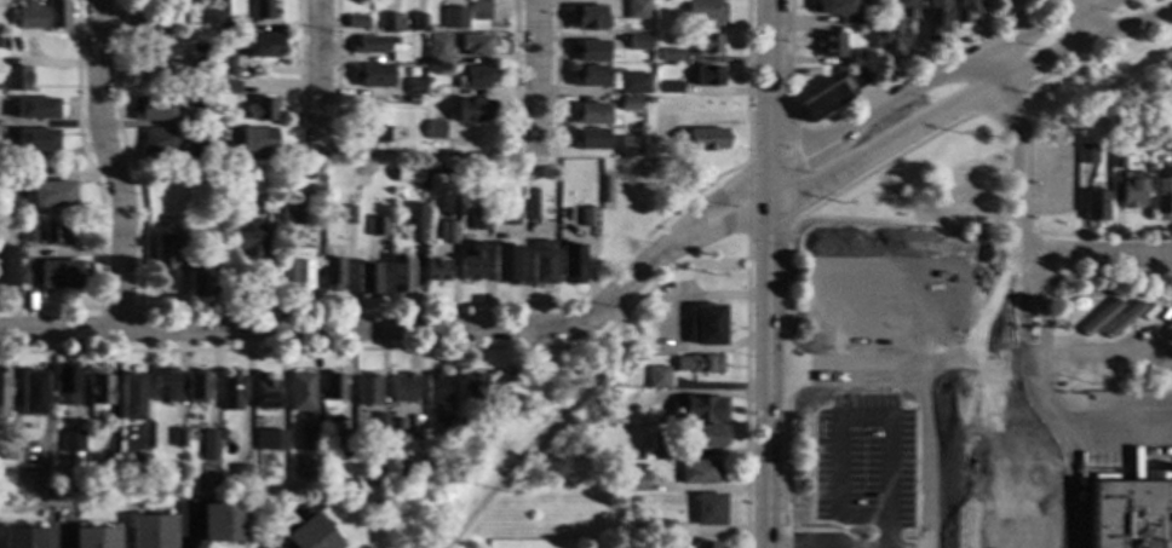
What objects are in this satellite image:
building: (142, 0)
building: (167, 0)
building: (202, 0)
building: (908, 4)
building: (259, 10)
building: (478, 10)
building: (636, 10)
building: (965, 10)
building: (705, 11)
building: (838, 11)
building: (56, 15)
building: (27, 16)
building: (676, 17)
building: (453, 18)
building: (587, 18)
building: (864, 18)
building: (933, 18)
road: (1080, 19)
building: (212, 21)
building: (355, 22)
building: (386, 22)
building: (182, 23)
building: (416, 23)
building: (138, 27)
building: (157, 29)
building: (229, 30)
building: (891, 35)
building: (217, 38)
building: (636, 42)
building: (364, 45)
building: (473, 45)
building: (707, 45)
building: (257, 46)
building: (831, 46)
building: (156, 47)
building: (436, 48)
building: (588, 51)
building: (195, 54)
building: (668, 54)
road: (1097, 54)
building: (862, 56)
building: (414, 57)
road: (970, 57)
building: (222, 64)
road: (512, 68)
building: (370, 76)
building: (588, 76)
building: (707, 76)
road: (298, 77)
road: (316, 77)
road: (333, 77)
building: (13, 79)
building: (475, 79)
road: (534, 79)
road: (552, 79)
building: (212, 82)
building: (632, 83)
building: (228, 87)
building: (414, 87)
building: (667, 87)
building: (186, 92)
building: (832, 93)
road: (864, 93)
building: (211, 98)
building: (649, 100)
road: (966, 100)
road: (998, 100)
building: (628, 104)
building: (193, 105)
building: (211, 105)
building: (34, 108)
building: (259, 109)
building: (149, 110)
building: (473, 111)
building: (590, 114)
building: (433, 129)
building: (209, 133)
building: (367, 134)
building: (224, 138)
building: (588, 139)
building: (702, 139)
building: (34, 140)
building: (254, 140)
building: (157, 142)
building: (1168, 142)
building: (627, 146)
building: (1087, 155)
building: (460, 156)
road: (797, 156)
building: (1118, 160)
road: (109, 163)
building: (197, 167)
building: (450, 171)
road: (789, 171)
building: (406, 173)
building: (177, 174)
building: (292, 174)
building: (212, 175)
building: (591, 179)
building: (1056, 184)
building: (605, 190)
building: (1133, 190)
road: (1022, 194)
building: (1162, 194)
building: (51, 195)
building: (929, 195)
building: (970, 195)
road: (98, 200)
road: (745, 200)
building: (262, 204)
building: (1096, 206)
building: (530, 207)
building: (349, 214)
building: (291, 215)
building: (507, 217)
building: (585, 217)
building: (39, 218)
building: (479, 220)
road: (903, 223)
building: (377, 226)
building: (562, 226)
building: (242, 231)
building: (27, 232)
building: (447, 232)
road: (1021, 232)
building: (56, 233)
road: (682, 236)
road: (1103, 236)
road: (745, 248)
building: (166, 250)
road: (1088, 255)
building: (470, 261)
building: (540, 263)
building: (570, 263)
building: (502, 264)
building: (5, 266)
road: (841, 266)
building: (300, 271)
building: (436, 271)
road: (769, 273)
building: (50, 275)
building: (197, 275)
building: (332, 275)
road: (1084, 275)
building: (398, 276)
road: (787, 279)
building: (366, 281)
parking lot: (878, 294)
road: (391, 306)
road: (116, 308)
road: (673, 323)
building: (707, 325)
road: (311, 327)
road: (533, 348)
building: (699, 364)
road: (976, 367)
building: (657, 377)
building: (97, 386)
building: (165, 386)
building: (64, 387)
building: (197, 387)
building: (476, 387)
building: (334, 388)
building: (403, 388)
building: (232, 391)
building: (264, 391)
building: (300, 391)
building: (367, 391)
building: (436, 391)
building: (4, 393)
building: (31, 393)
building: (131, 397)
building: (699, 410)
road: (848, 411)
building: (603, 419)
building: (379, 422)
building: (397, 425)
building: (444, 427)
road: (550, 429)
road: (926, 429)
building: (711, 435)
building: (178, 438)
building: (308, 439)
building: (341, 439)
building: (275, 440)
building: (71, 442)
building: (209, 445)
building: (660, 446)
building: (7, 450)
parking lot: (851, 457)
building: (138, 463)
building: (697, 472)
building: (240, 474)
building: (637, 480)
building: (105, 485)
building: (76, 489)
building: (377, 489)
building: (397, 489)
building: (2, 491)
building: (22, 491)
building: (46, 494)
road: (132, 509)
building: (708, 509)
building: (1065, 515)
road: (71, 523)
building: (223, 523)
road: (285, 523)
road: (183, 525)
road: (326, 525)
building: (661, 527)
building: (150, 531)
building: (585, 531)
road: (59, 532)
building: (309, 535)
building: (23, 538)
building: (94, 538)
building: (705, 544)
road: (844, 546)

